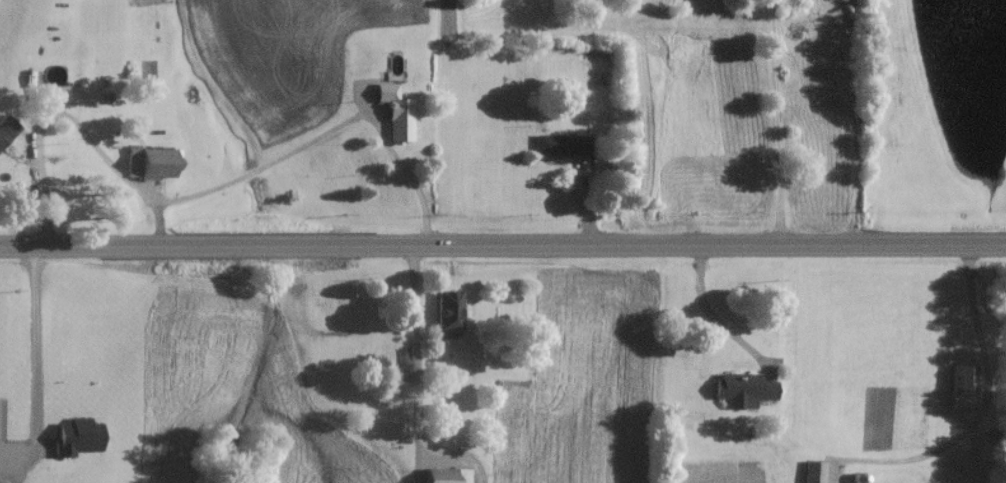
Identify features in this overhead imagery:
building: (42, 89)
building: (395, 115)
road: (776, 121)
building: (554, 148)
building: (150, 165)
road: (118, 169)
road: (503, 245)
building: (447, 313)
road: (715, 315)
road: (976, 317)
road: (413, 353)
building: (960, 388)
building: (742, 389)
building: (76, 437)
building: (811, 472)
building: (858, 478)

